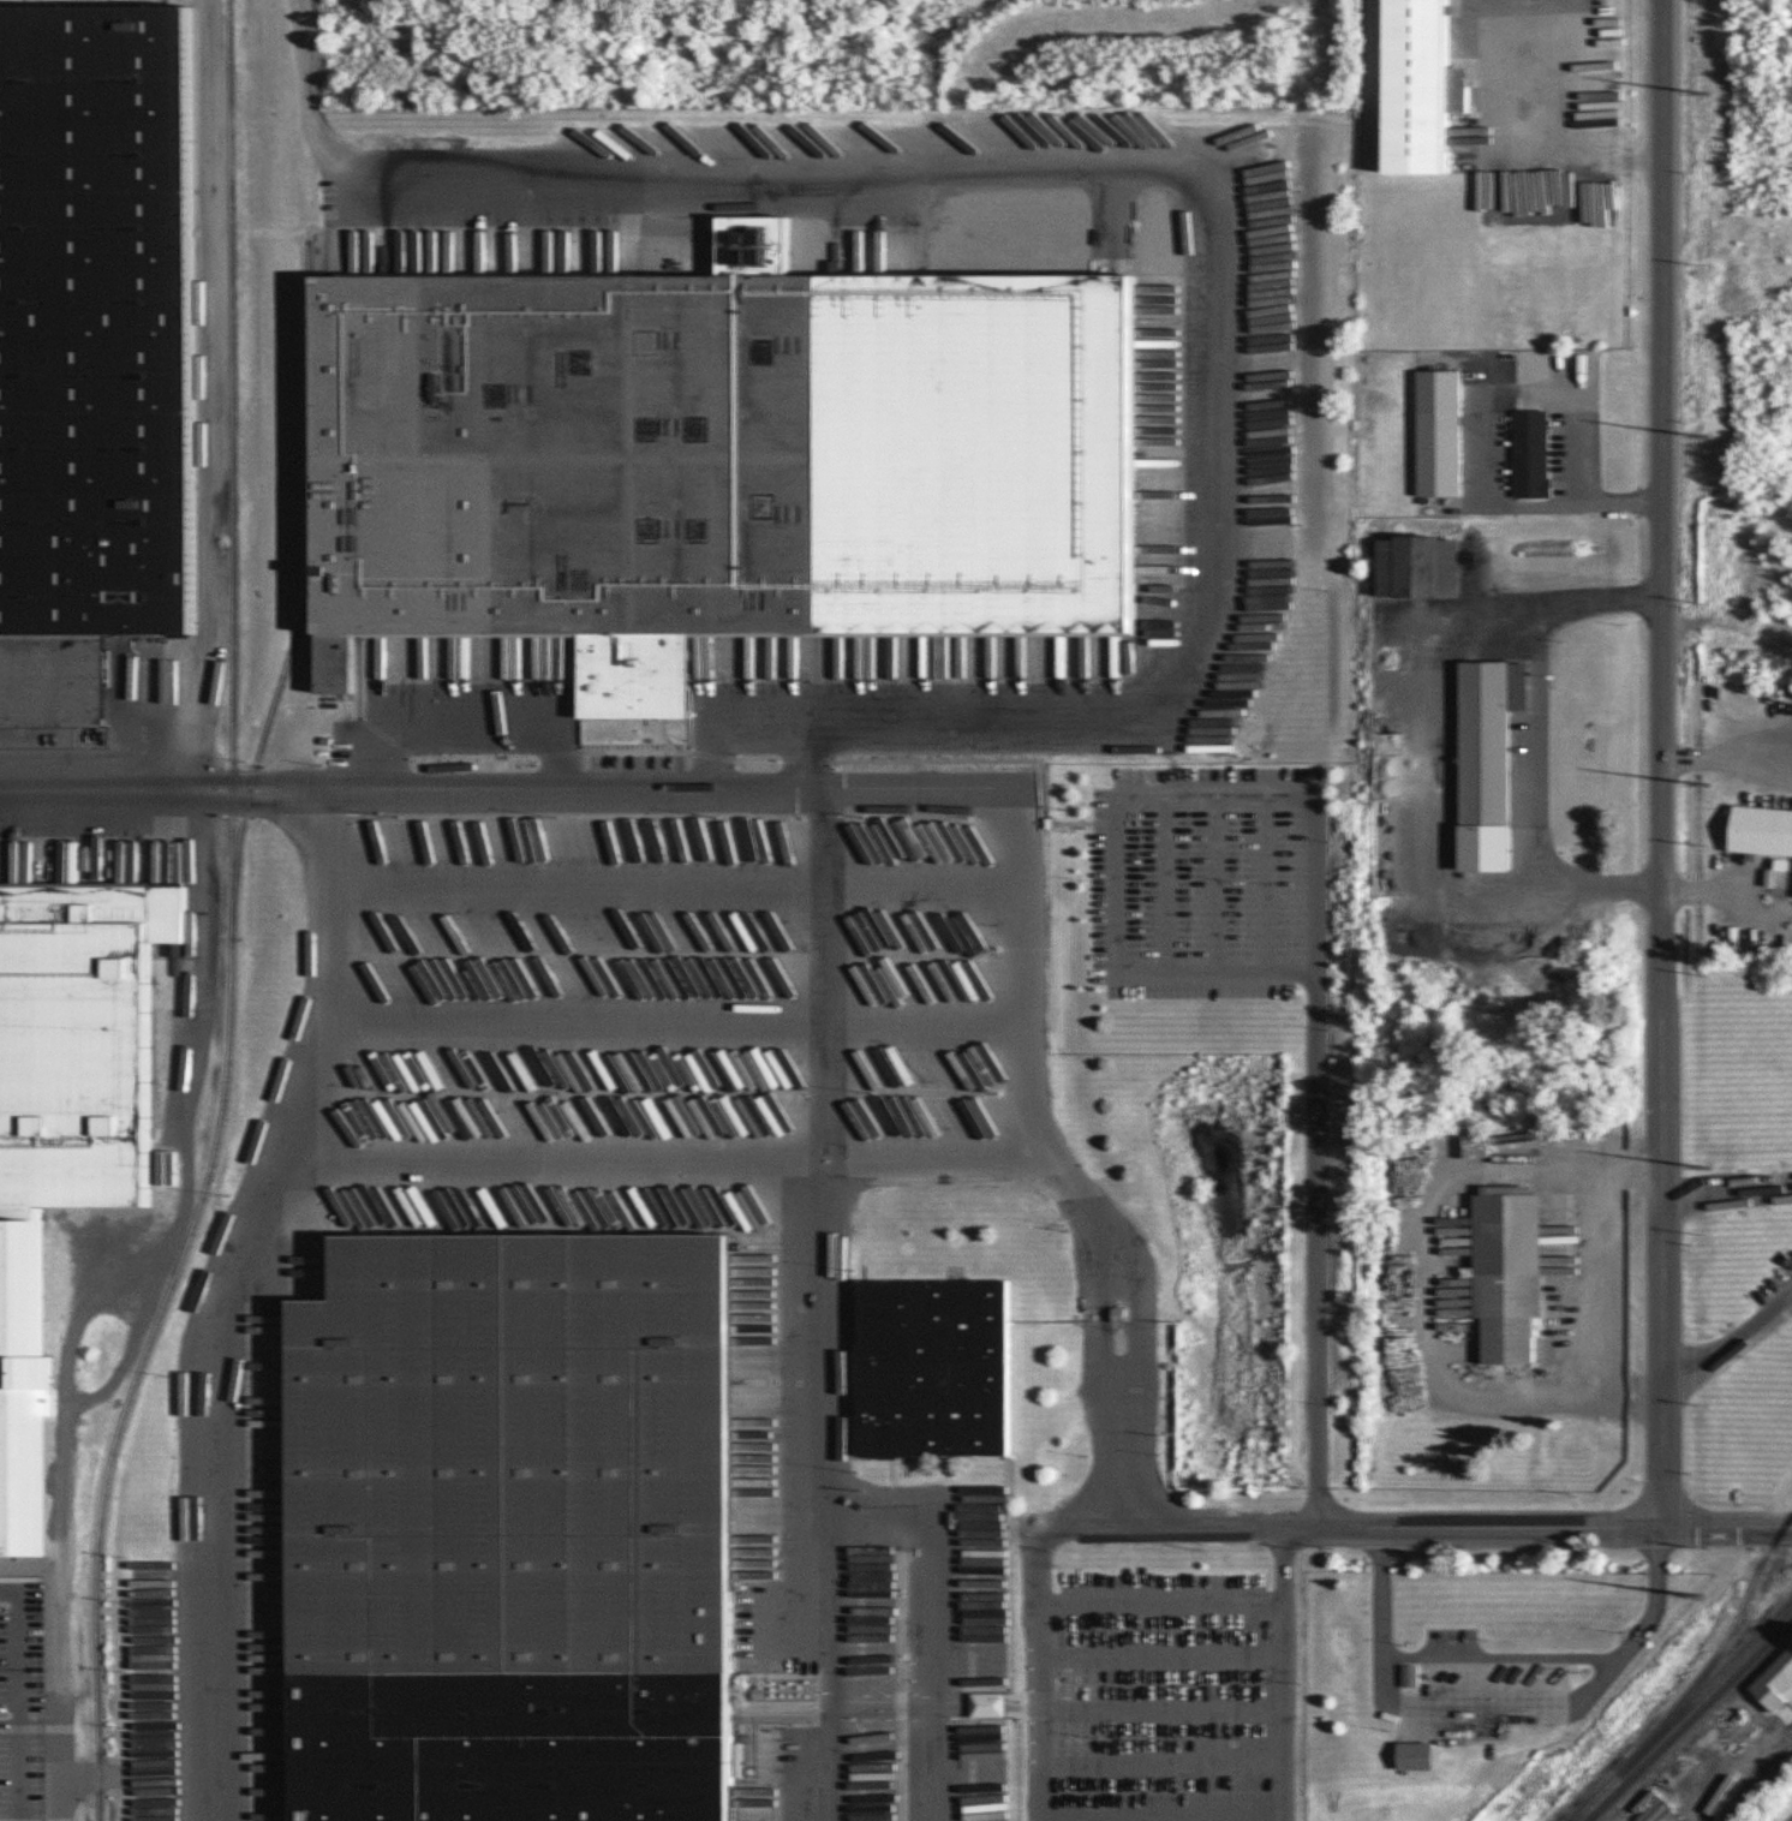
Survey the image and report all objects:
road: (1521, 77)
building: (1420, 85)
road: (310, 90)
road: (1206, 186)
building: (91, 333)
road: (205, 389)
road: (1577, 417)
building: (709, 425)
building: (1440, 434)
road: (1487, 450)
building: (1531, 454)
road: (1591, 506)
building: (1420, 567)
railway: (305, 574)
road: (758, 695)
road: (461, 704)
road: (1728, 741)
road: (1535, 742)
building: (1488, 760)
road: (1666, 764)
road: (1430, 765)
road: (900, 783)
road: (1073, 819)
building: (1762, 831)
road: (676, 860)
road: (1113, 883)
road: (1164, 884)
road: (1213, 884)
road: (1261, 884)
road: (1731, 896)
railway: (229, 919)
road: (834, 966)
road: (674, 1001)
building: (66, 1086)
road: (482, 1156)
road: (1324, 1163)
building: (166, 1168)
road: (1728, 1193)
building: (1504, 1270)
road: (1417, 1277)
road: (1596, 1280)
road: (835, 1324)
road: (1728, 1347)
building: (927, 1363)
road: (223, 1477)
road: (872, 1498)
road: (1776, 1509)
building: (510, 1512)
road: (1462, 1527)
road: (1161, 1596)
road: (1040, 1626)
railway: (1719, 1648)
road: (1161, 1650)
road: (1283, 1673)
building: (1410, 1676)
building: (1774, 1683)
road: (19, 1697)
road: (1161, 1702)
road: (1498, 1704)
railway: (1682, 1713)
railway: (1689, 1720)
building: (1416, 1756)
road: (1163, 1761)
road: (1163, 1815)

